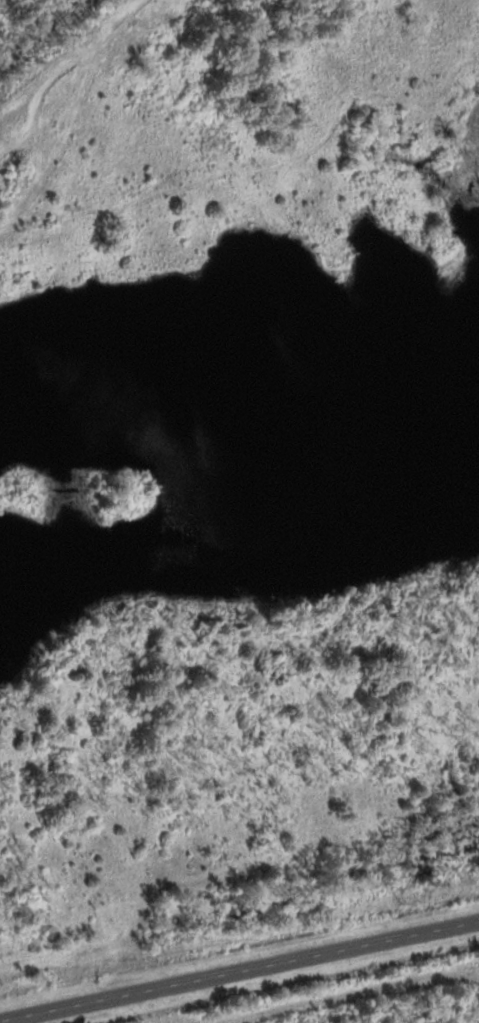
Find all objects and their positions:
railway: (45, 30)
road: (239, 970)

